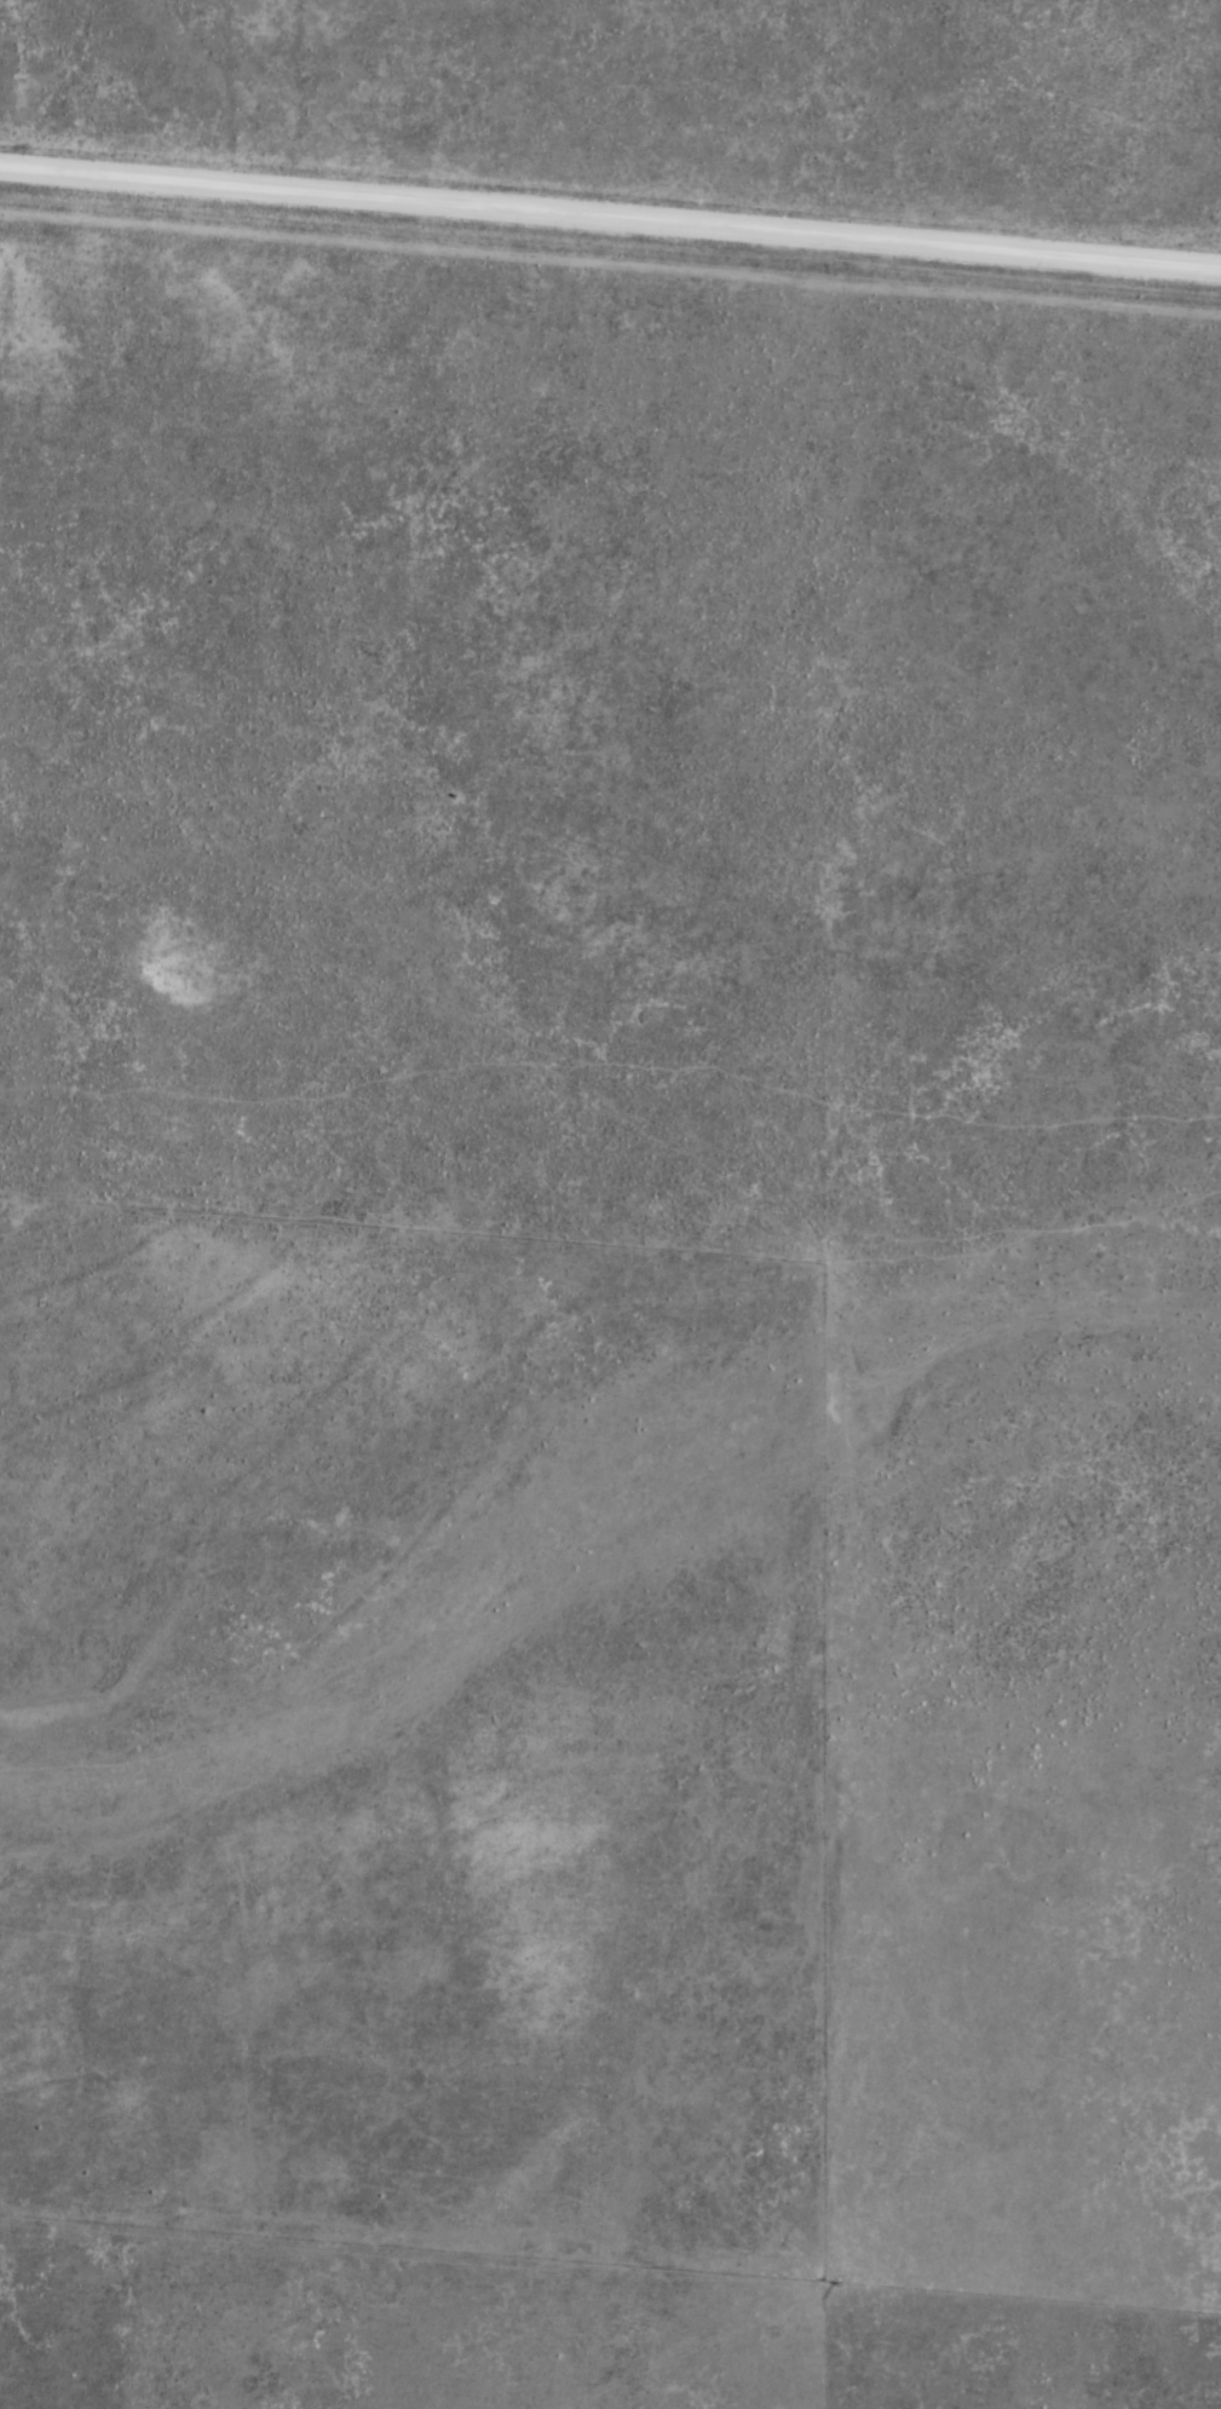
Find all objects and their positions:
road: (610, 223)

